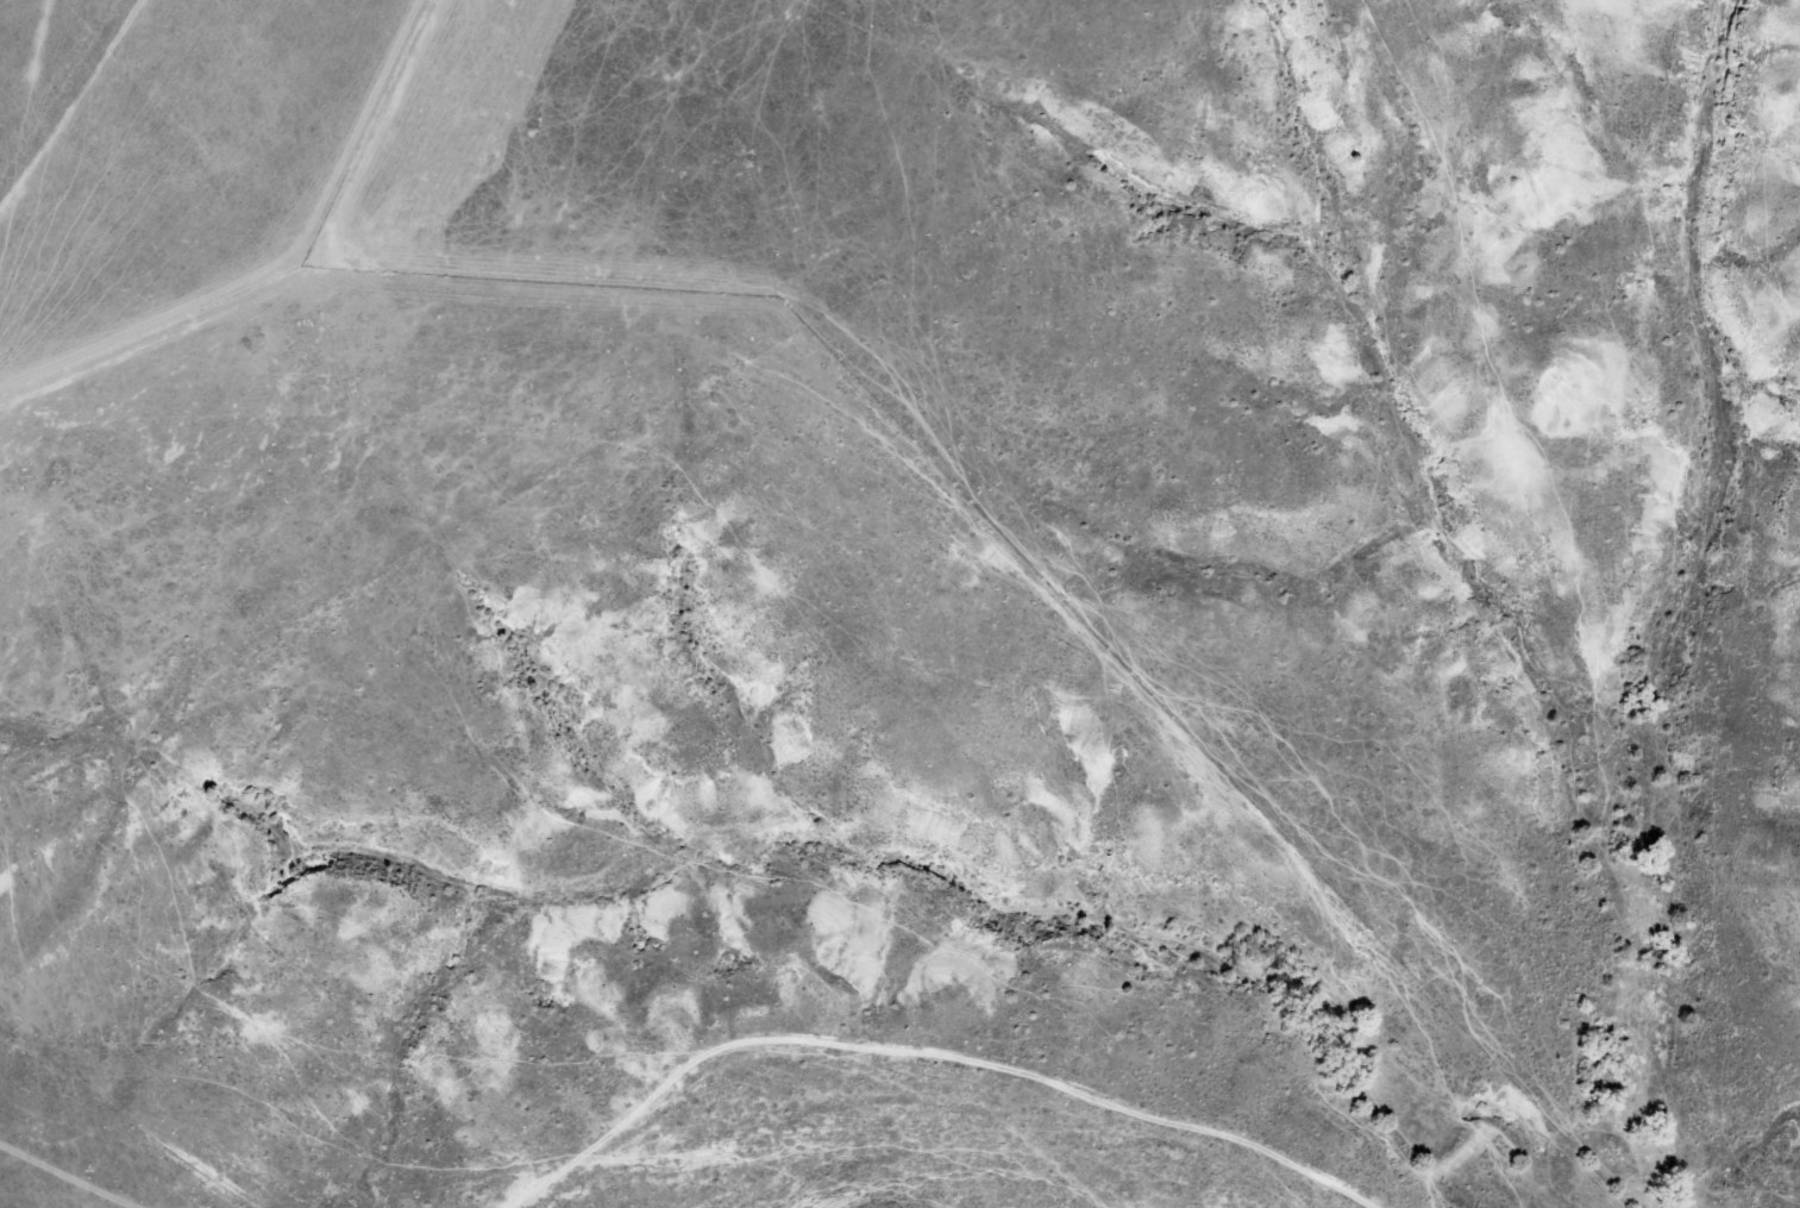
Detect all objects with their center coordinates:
road: (928, 1053)
road: (113, 1103)

